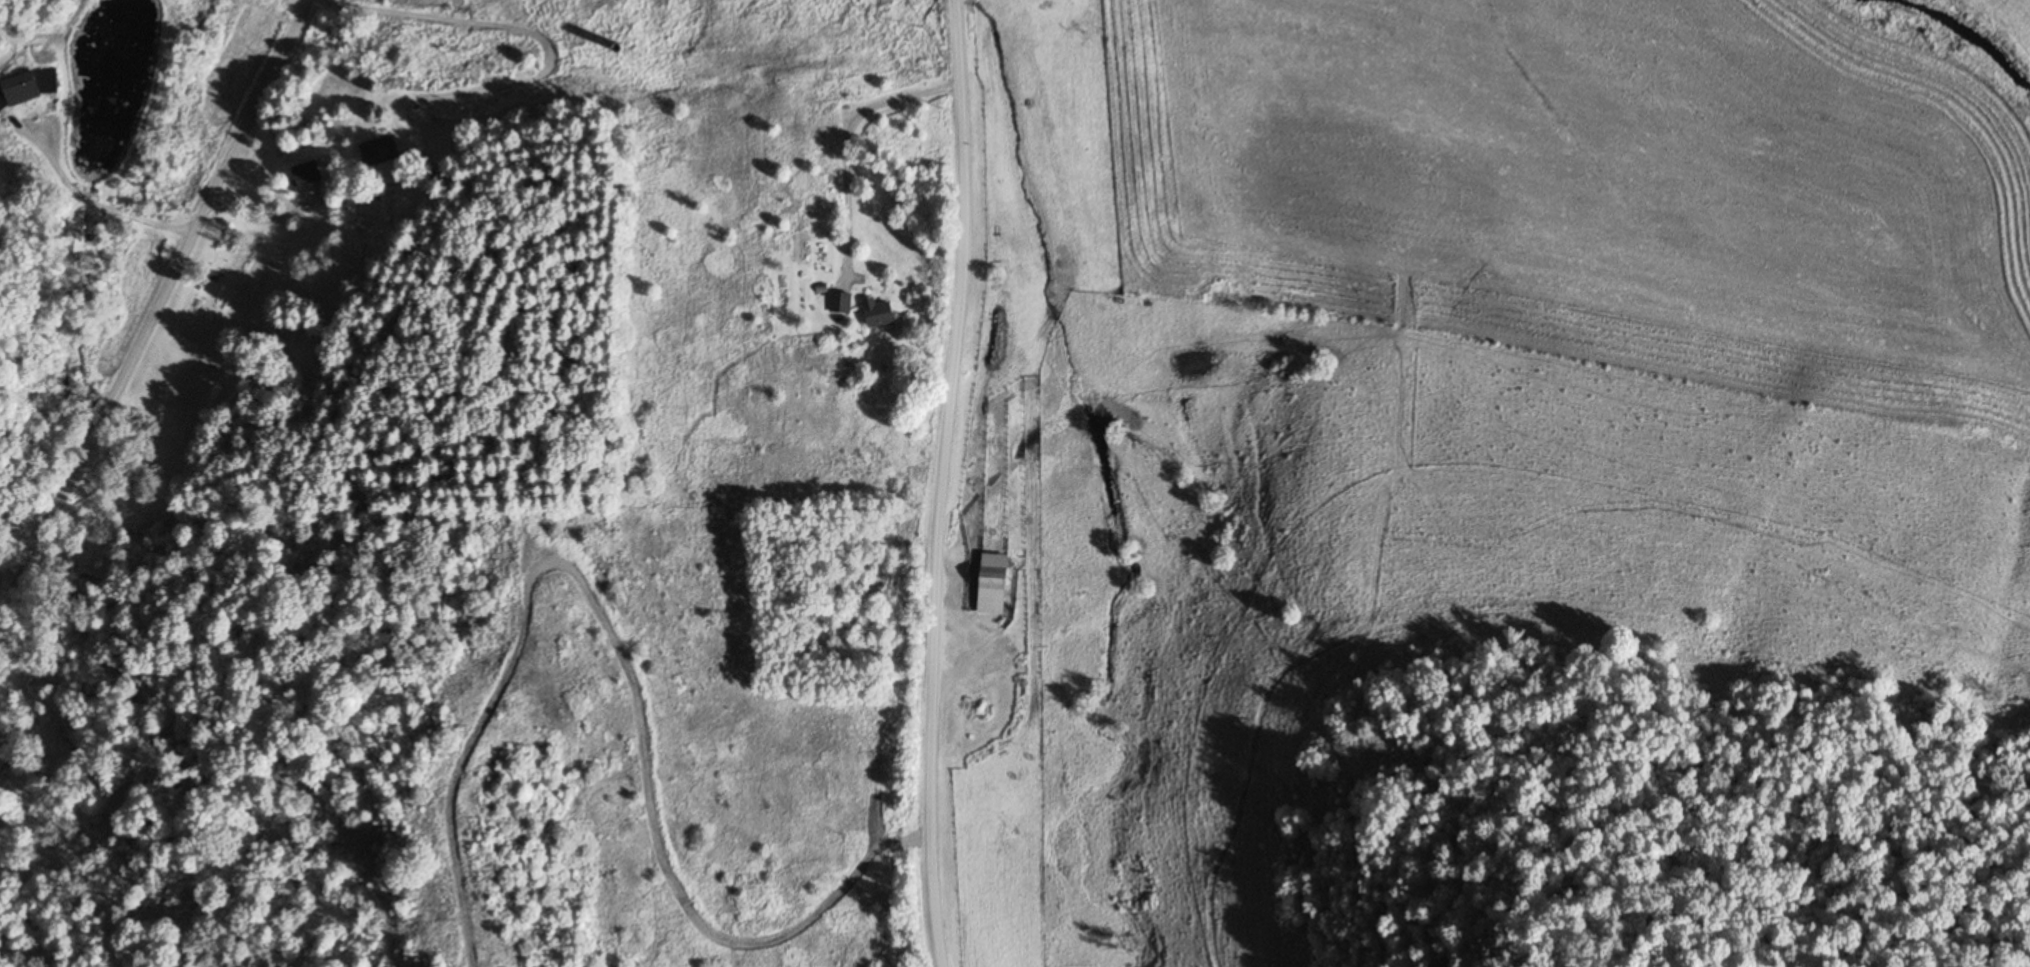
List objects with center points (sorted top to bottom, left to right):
road: (846, 37)
building: (29, 87)
building: (378, 152)
building: (309, 173)
building: (75, 242)
building: (842, 303)
road: (159, 304)
building: (881, 313)
road: (941, 483)
building: (995, 579)

